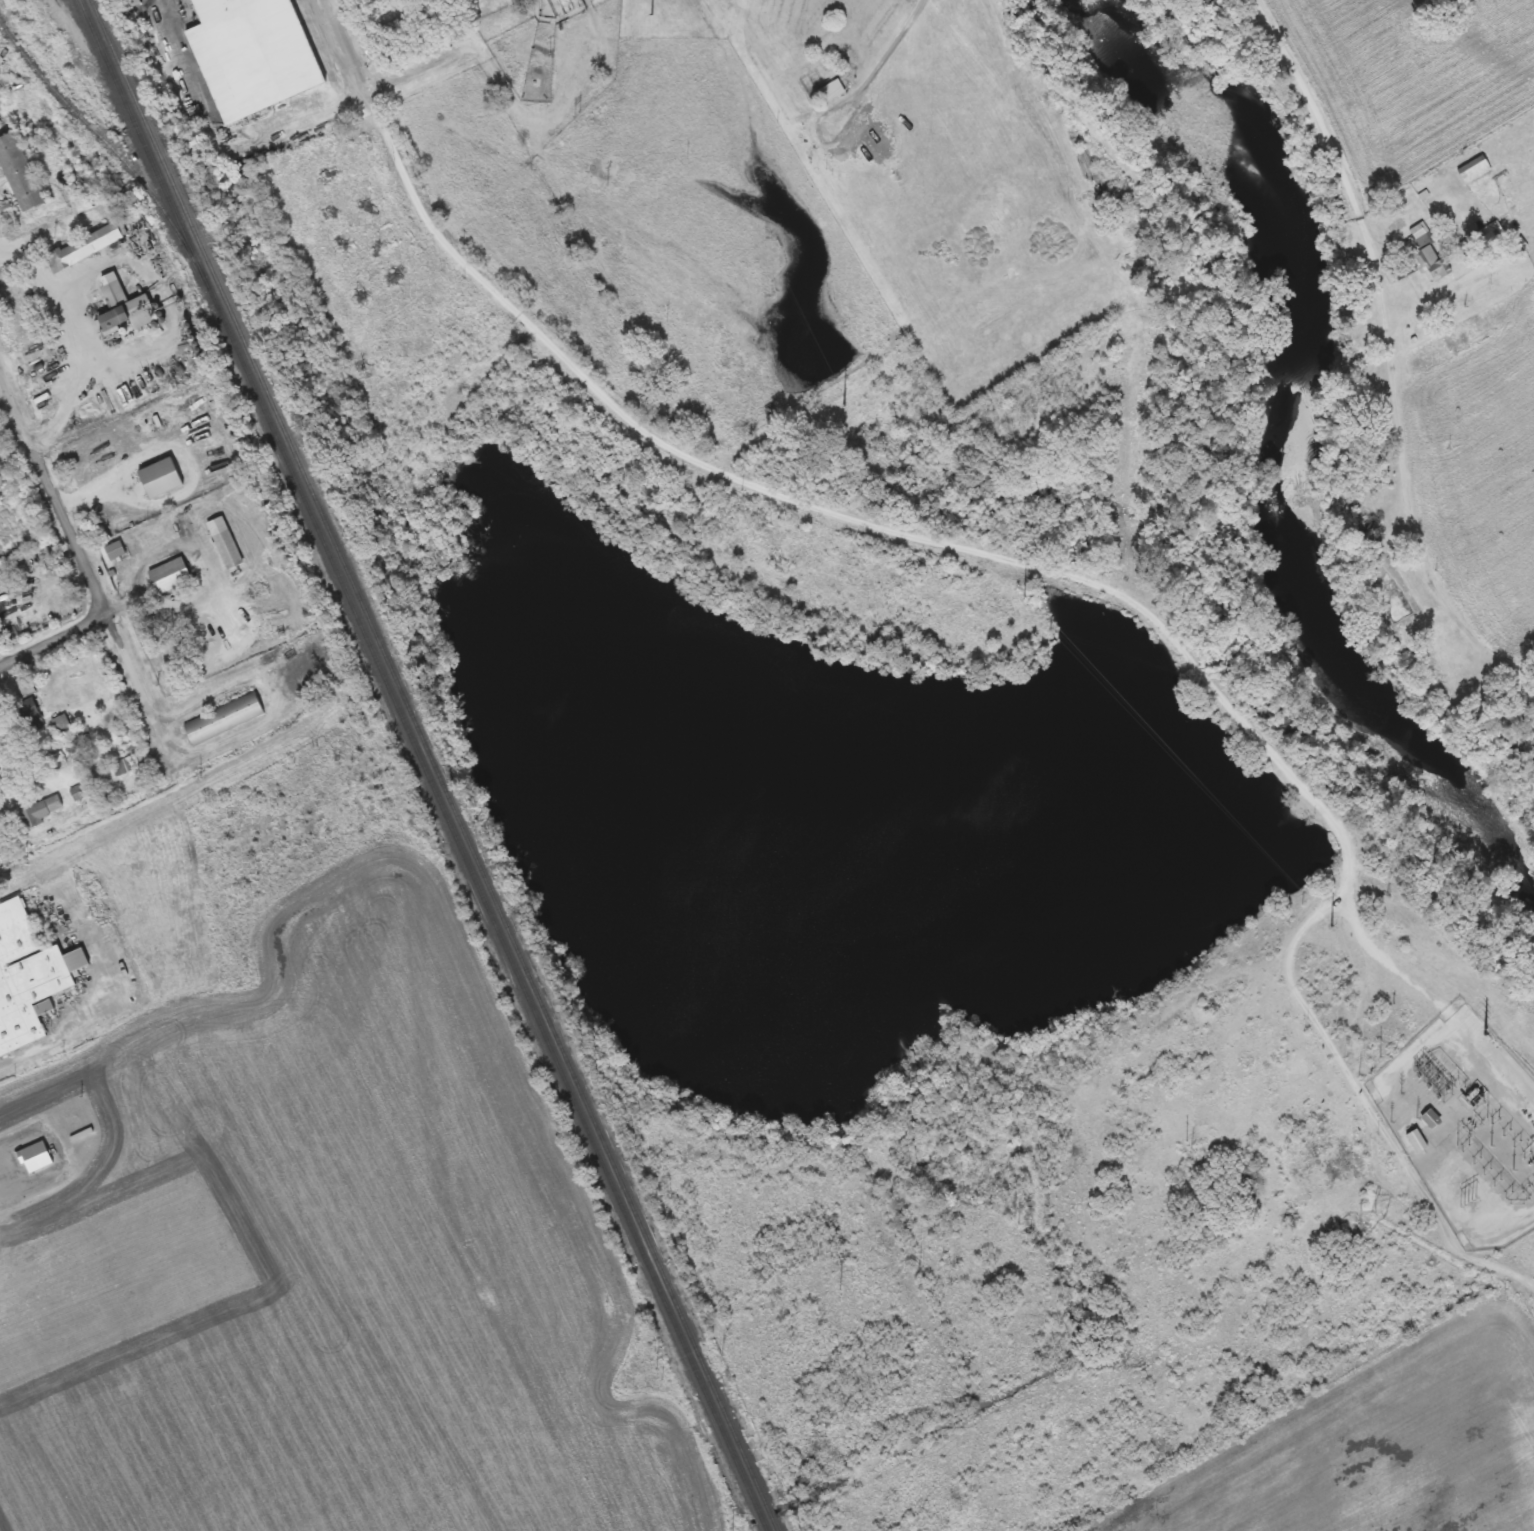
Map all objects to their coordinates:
building: (135, 4)
power tower: (652, 14)
building: (257, 55)
road: (349, 68)
building: (826, 92)
road: (1324, 97)
building: (605, 110)
building: (1467, 170)
building: (20, 173)
road: (45, 224)
building: (1486, 231)
building: (87, 247)
building: (1415, 259)
building: (118, 320)
power tower: (843, 404)
river: (1289, 434)
road: (15, 461)
building: (164, 478)
road: (769, 491)
building: (227, 543)
road: (79, 563)
building: (172, 575)
power tower: (1024, 598)
road: (52, 641)
building: (226, 717)
railway: (422, 765)
railway: (433, 765)
power tower: (1329, 926)
building: (26, 977)
power tower: (1485, 1034)
power tower: (1416, 1118)
building: (1428, 1118)
power substation: (1465, 1125)
building: (1413, 1141)
power tower: (1467, 1202)

